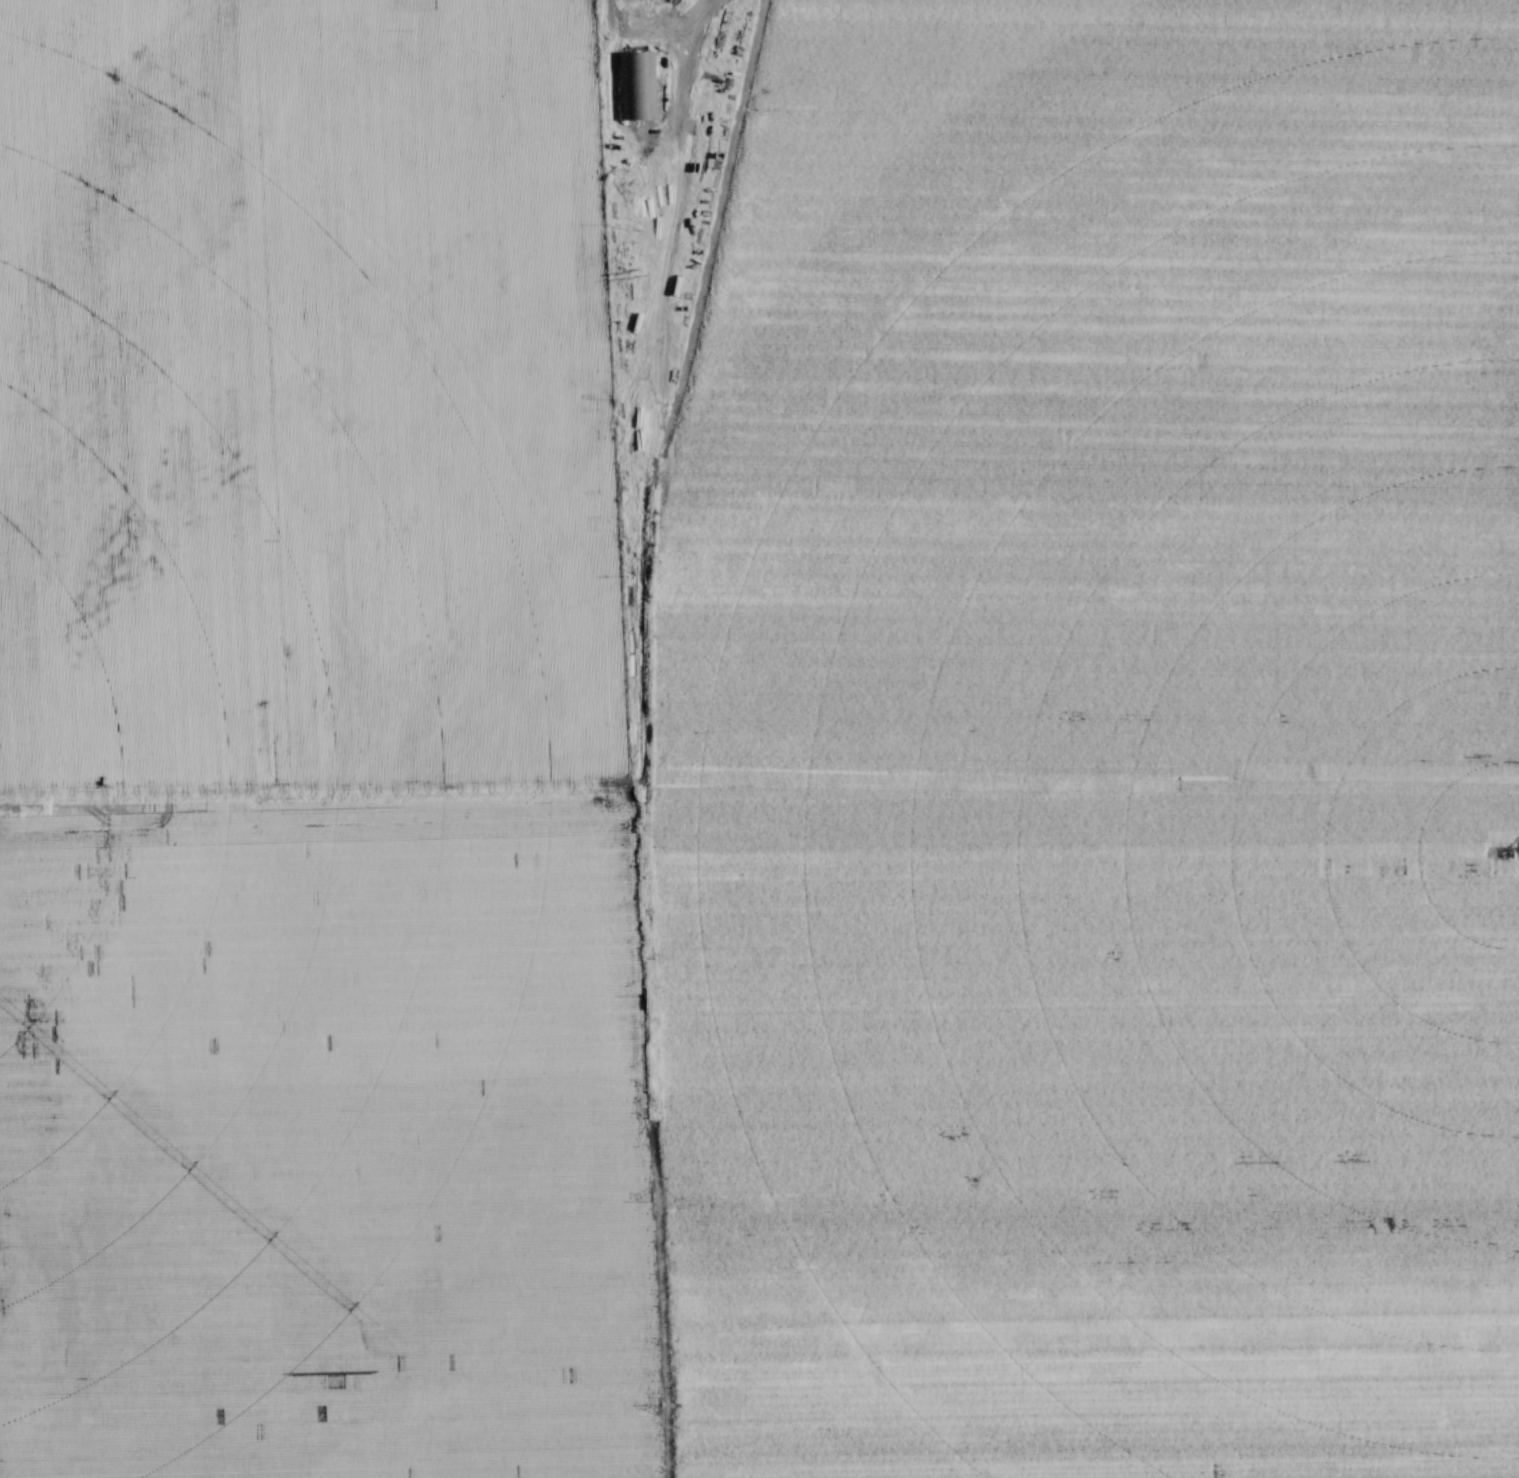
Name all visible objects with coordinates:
building: (670, 385)

